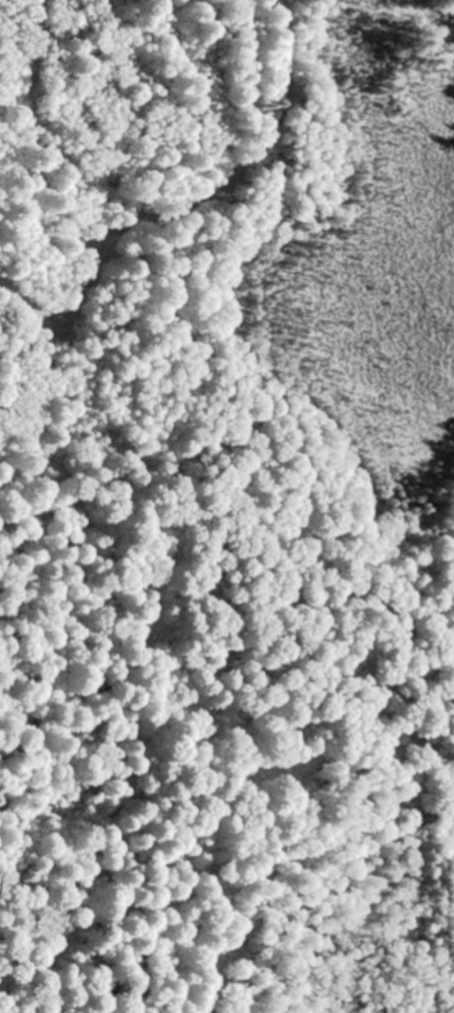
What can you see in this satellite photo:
road: (204, 165)
road: (114, 637)
road: (292, 788)

